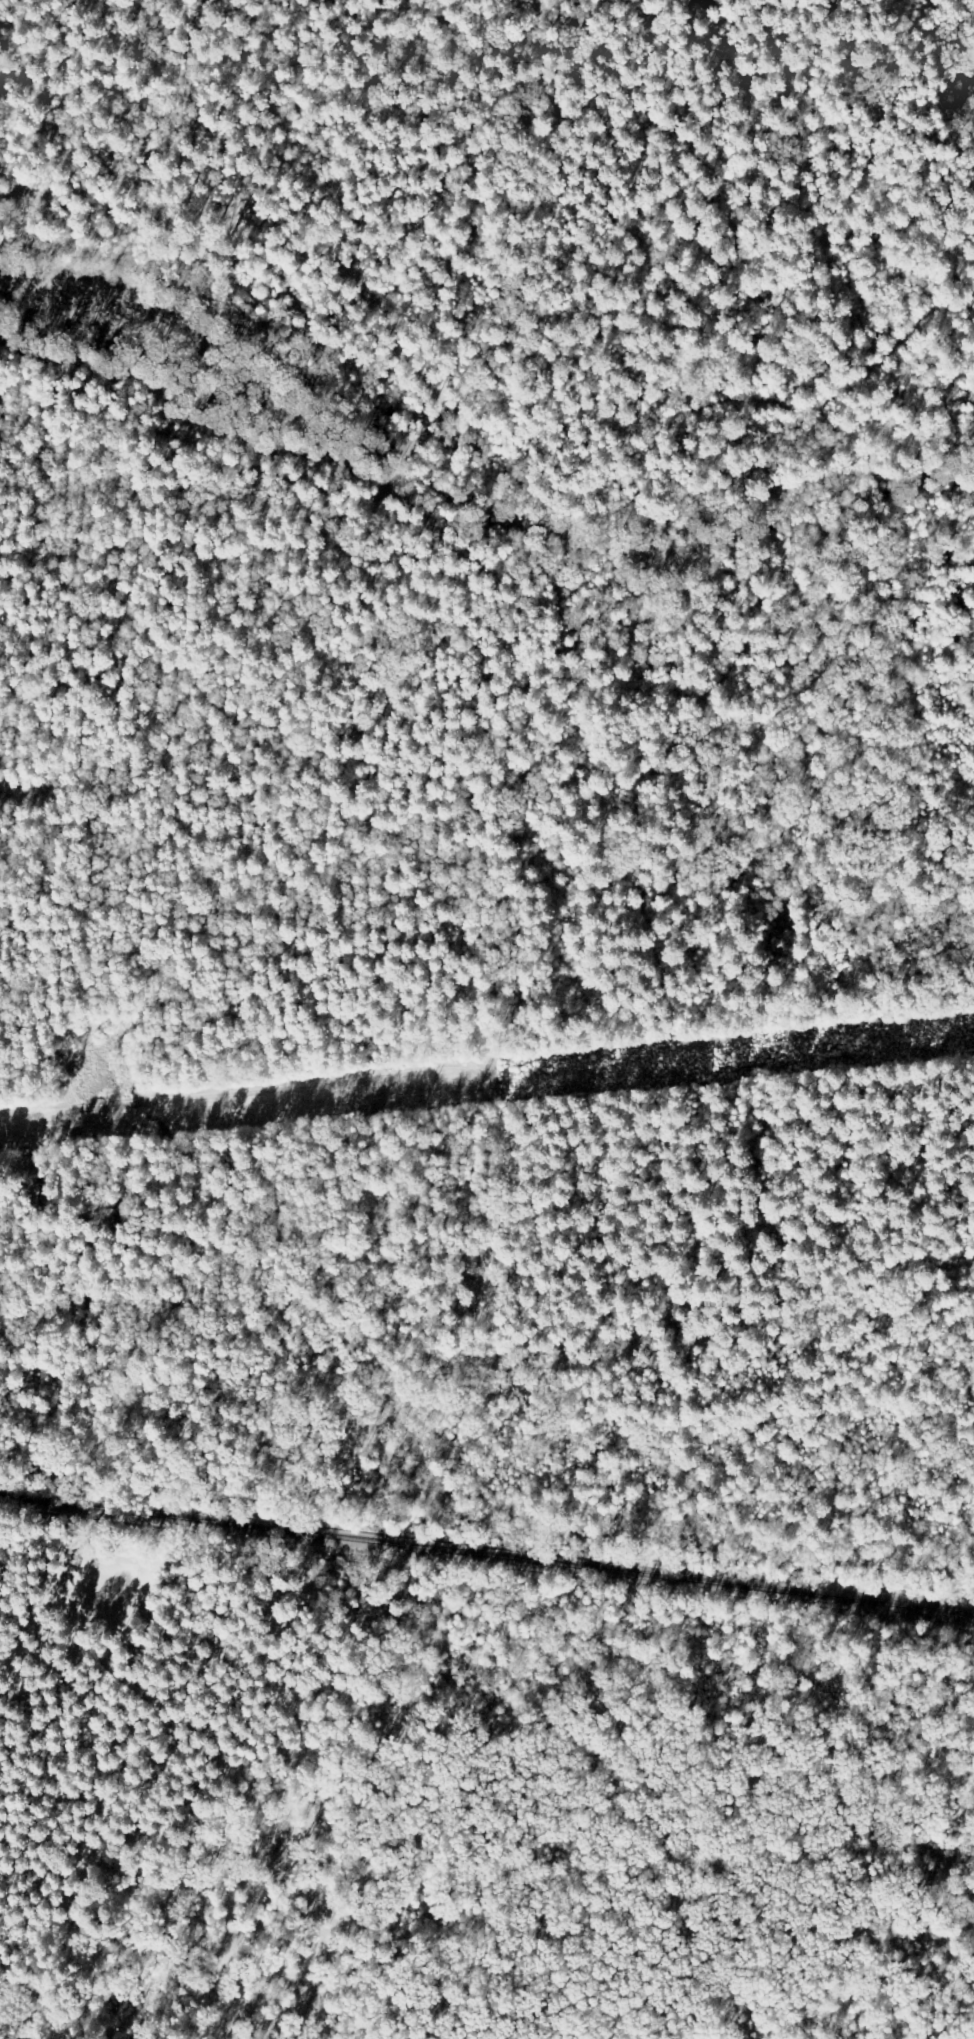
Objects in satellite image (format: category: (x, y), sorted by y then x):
power tower: (432, 1086)
power tower: (6, 1128)
railway: (486, 1556)

